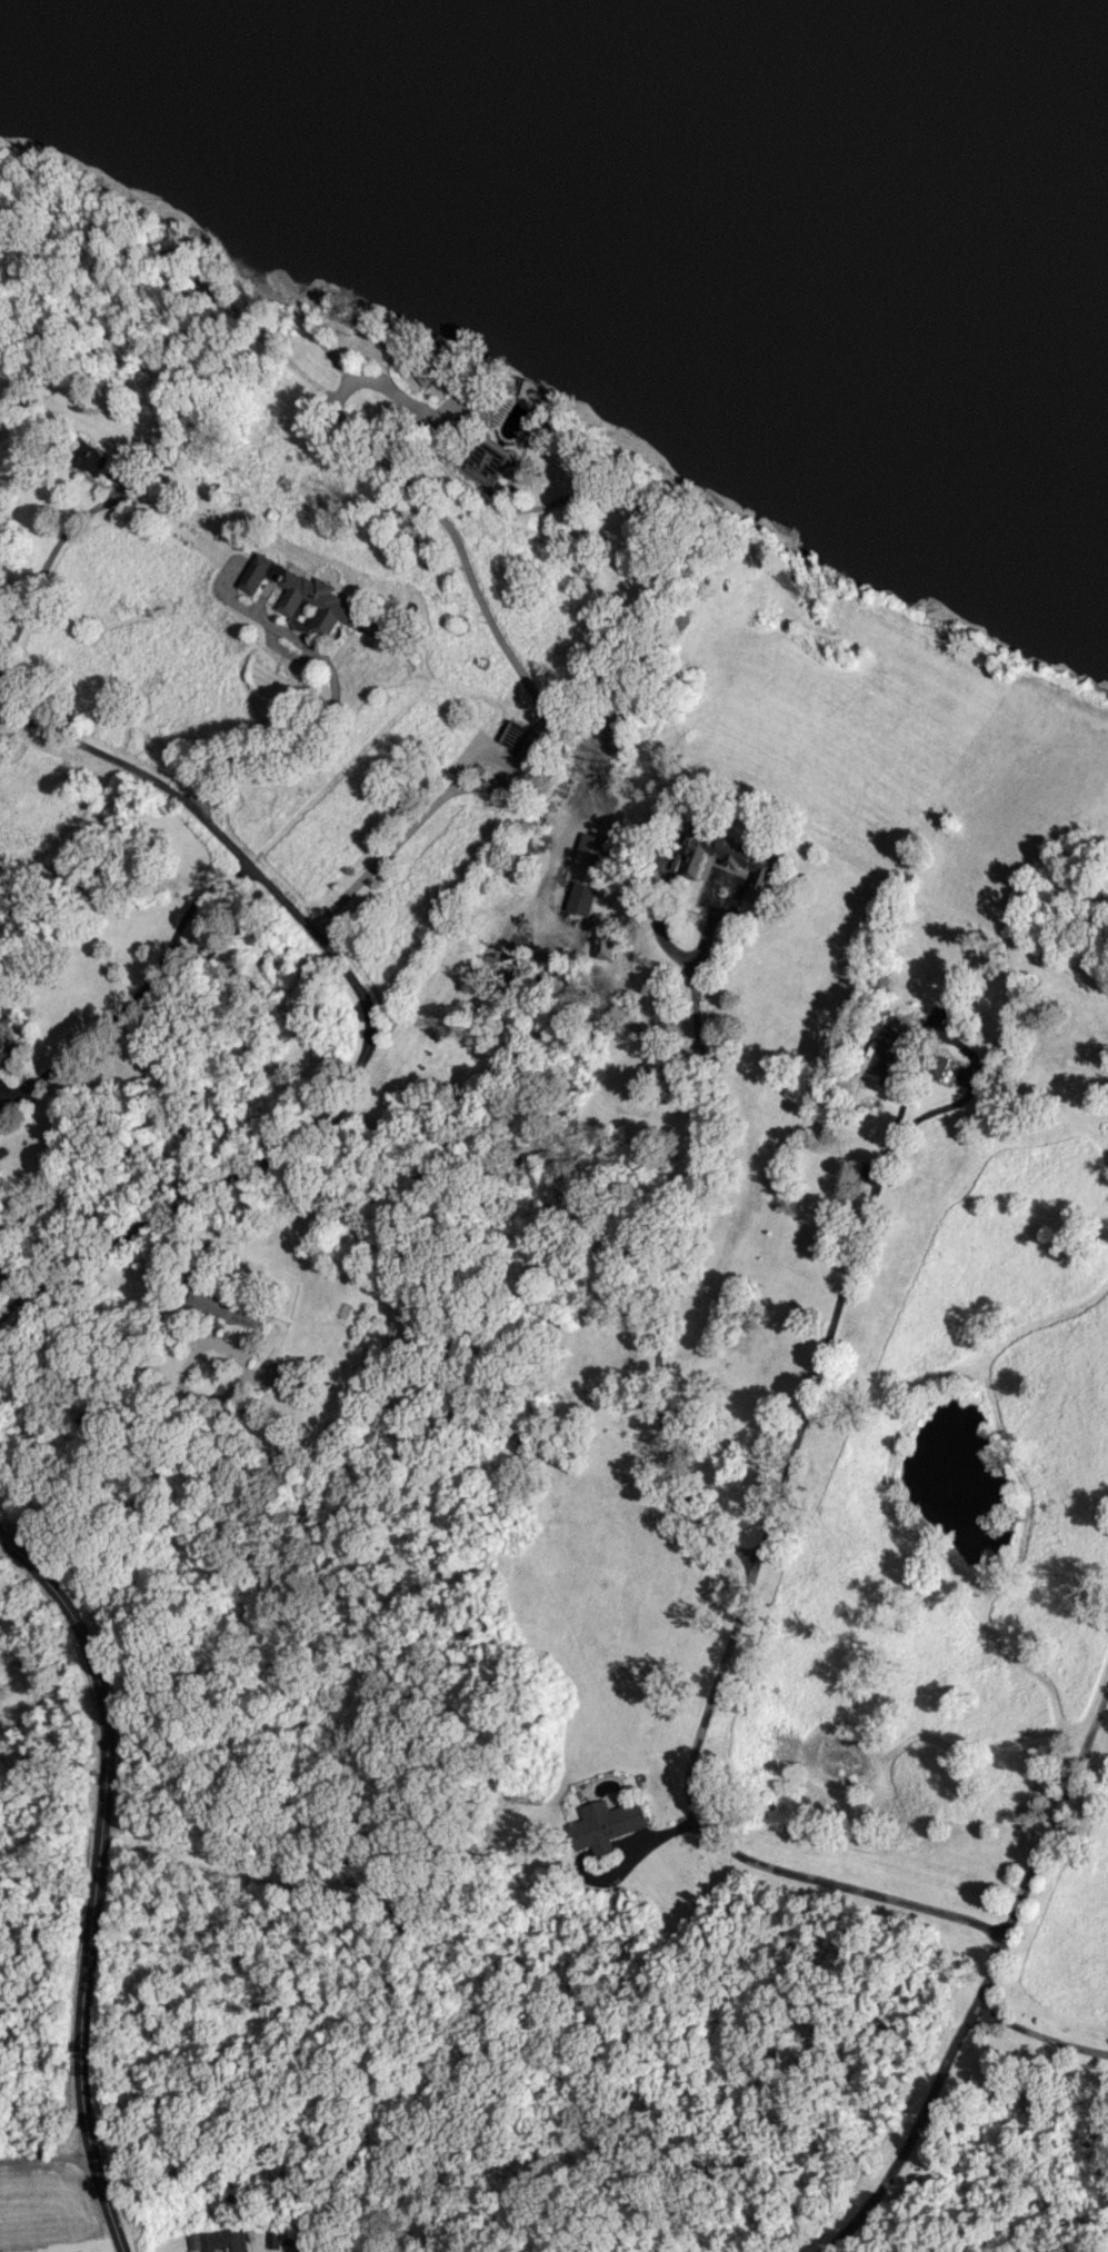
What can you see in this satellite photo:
river: (947, 81)
building: (532, 392)
building: (92, 458)
building: (483, 461)
road: (41, 574)
building: (302, 594)
road: (499, 642)
road: (325, 727)
road: (222, 835)
building: (591, 848)
building: (730, 859)
building: (579, 897)
building: (602, 944)
road: (143, 984)
road: (631, 1024)
building: (9, 1050)
building: (885, 1054)
building: (0, 1079)
road: (201, 1195)
road: (865, 1215)
road: (692, 1239)
building: (1, 1255)
building: (228, 1307)
building: (282, 1373)
road: (177, 1432)
building: (606, 1824)
road: (716, 1842)
road: (645, 1843)
road: (94, 1879)
road: (986, 1980)
road: (1039, 2034)
road: (46, 2148)
crop: (43, 2208)
building: (276, 2239)
building: (222, 2240)

